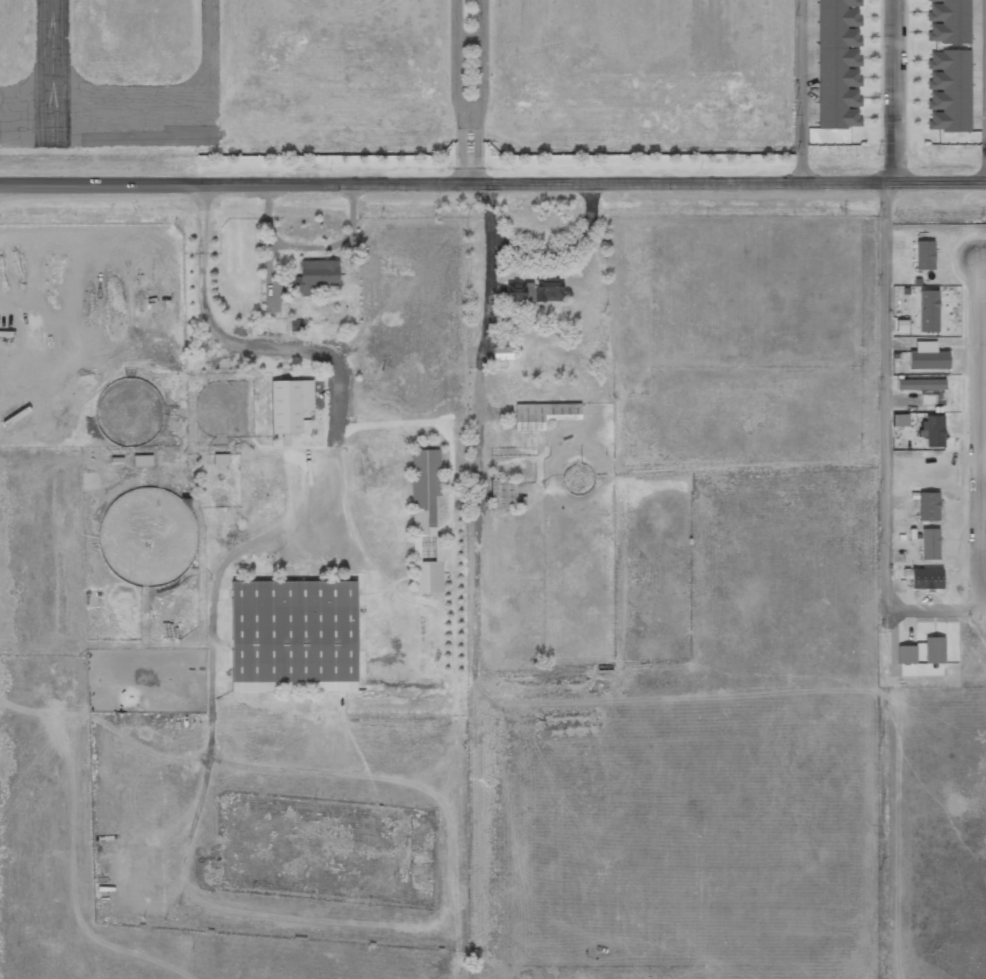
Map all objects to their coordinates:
building: (947, 21)
building: (839, 64)
airport runway: (50, 72)
airport: (395, 78)
road: (900, 90)
road: (456, 91)
road: (482, 91)
building: (948, 91)
airport taxiway: (182, 104)
airport taxiway: (25, 127)
road: (493, 181)
building: (924, 255)
building: (312, 276)
building: (535, 290)
building: (928, 311)
building: (501, 353)
building: (927, 356)
building: (919, 384)
building: (289, 404)
building: (543, 414)
building: (900, 419)
road: (979, 427)
building: (933, 430)
building: (220, 459)
building: (142, 460)
building: (502, 494)
building: (927, 506)
building: (425, 521)
building: (929, 543)
building: (926, 578)
road: (984, 598)
building: (293, 635)
building: (930, 650)
building: (906, 654)
building: (919, 669)
road: (150, 774)

